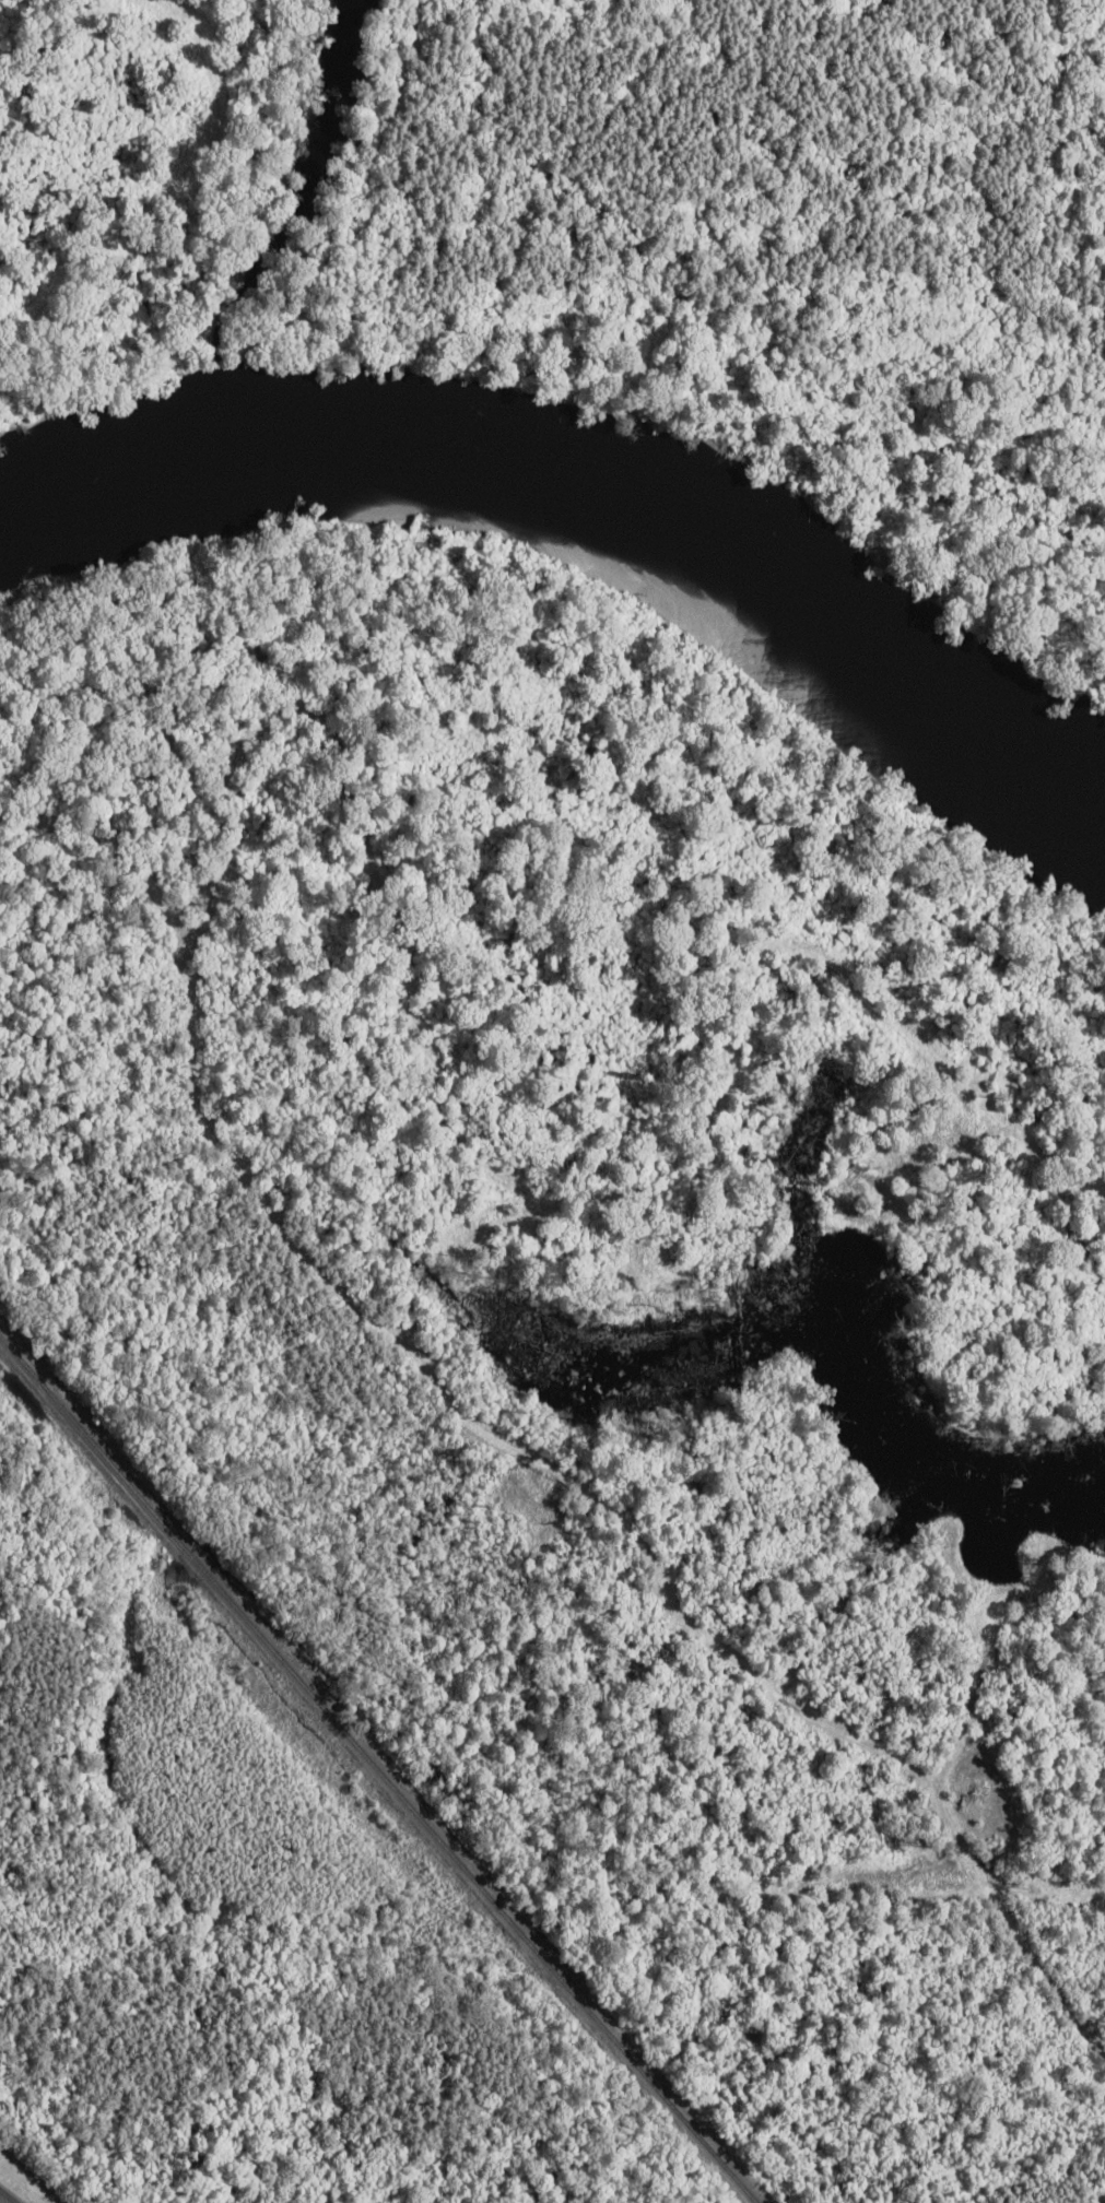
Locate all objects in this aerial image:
river: (595, 488)
railway: (379, 1767)
road: (4, 2199)

